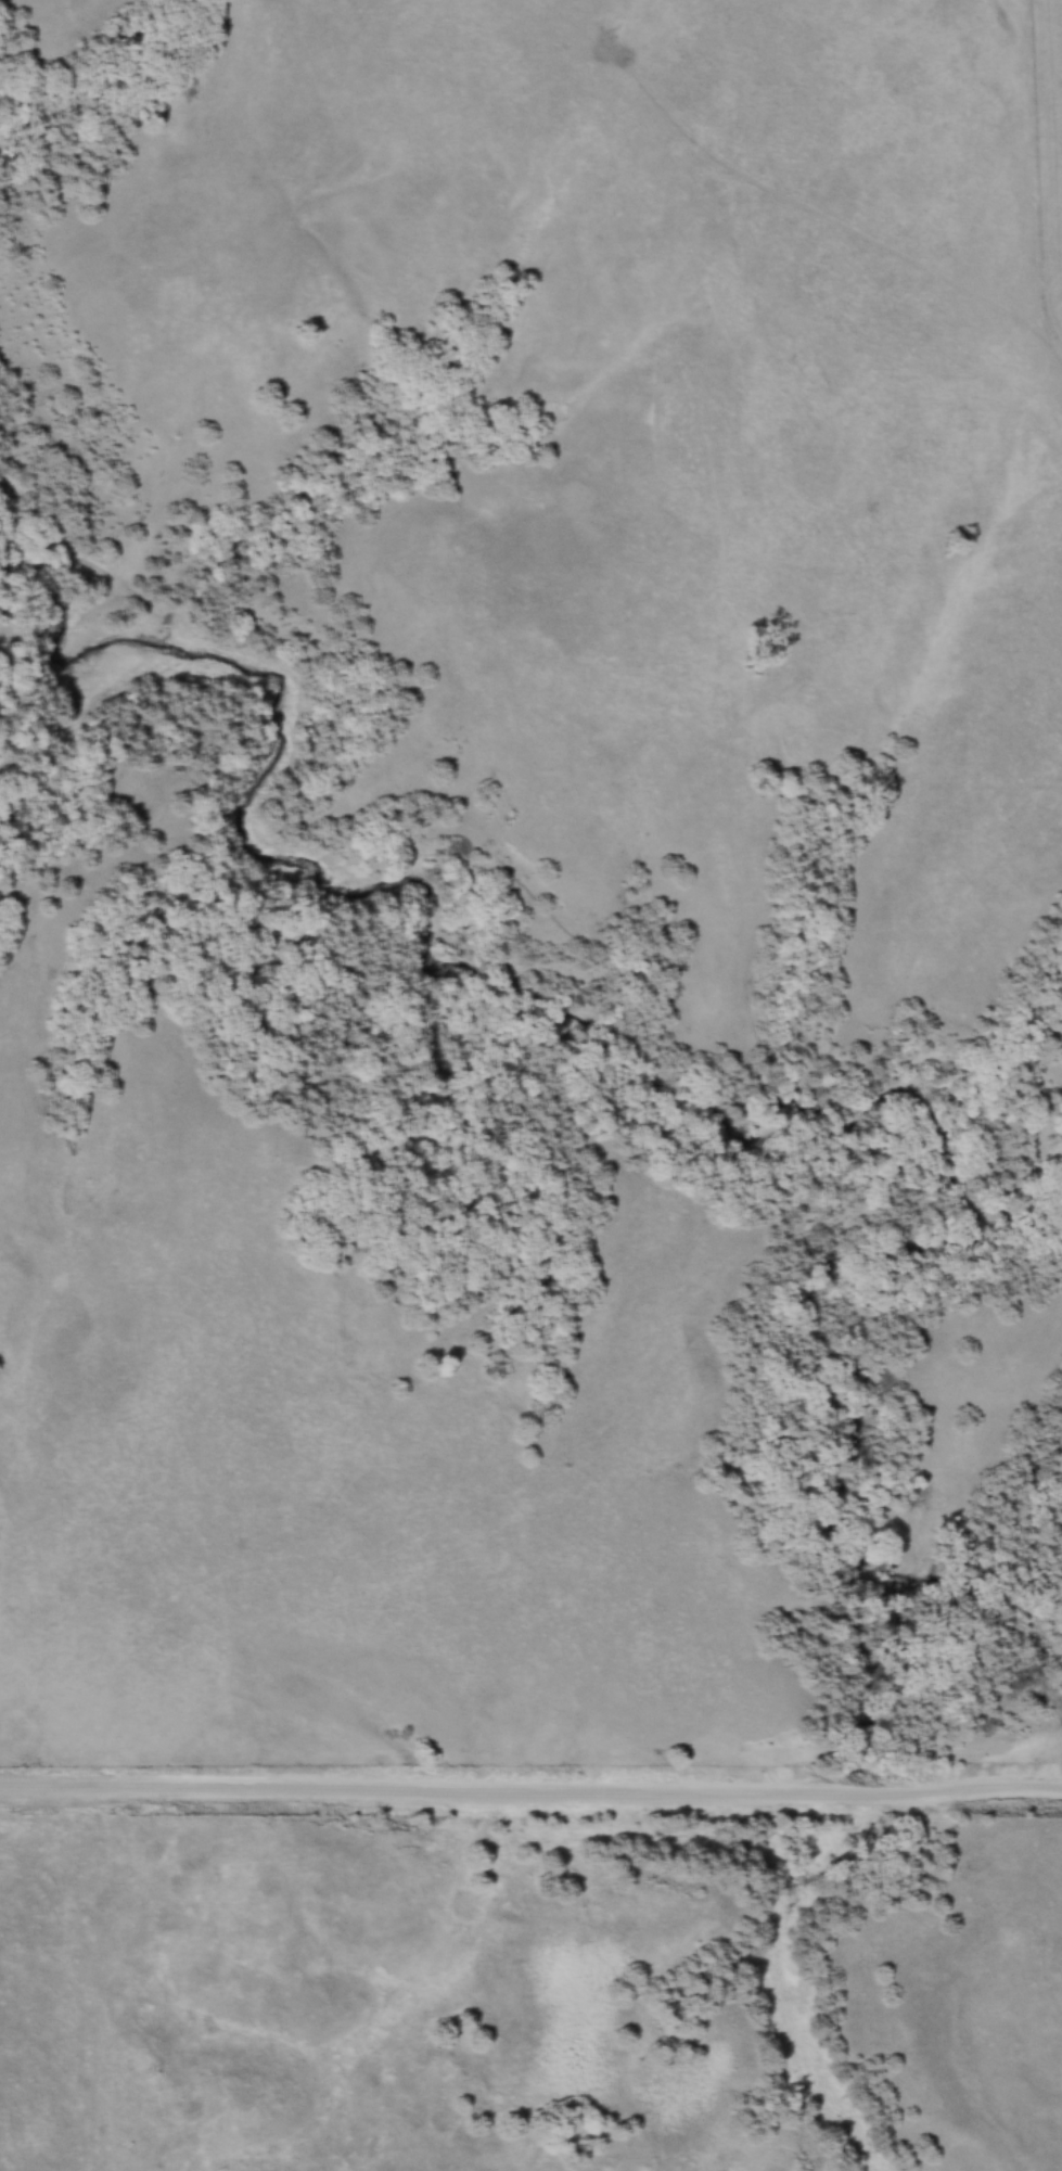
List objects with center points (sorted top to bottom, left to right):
road: (530, 1799)

